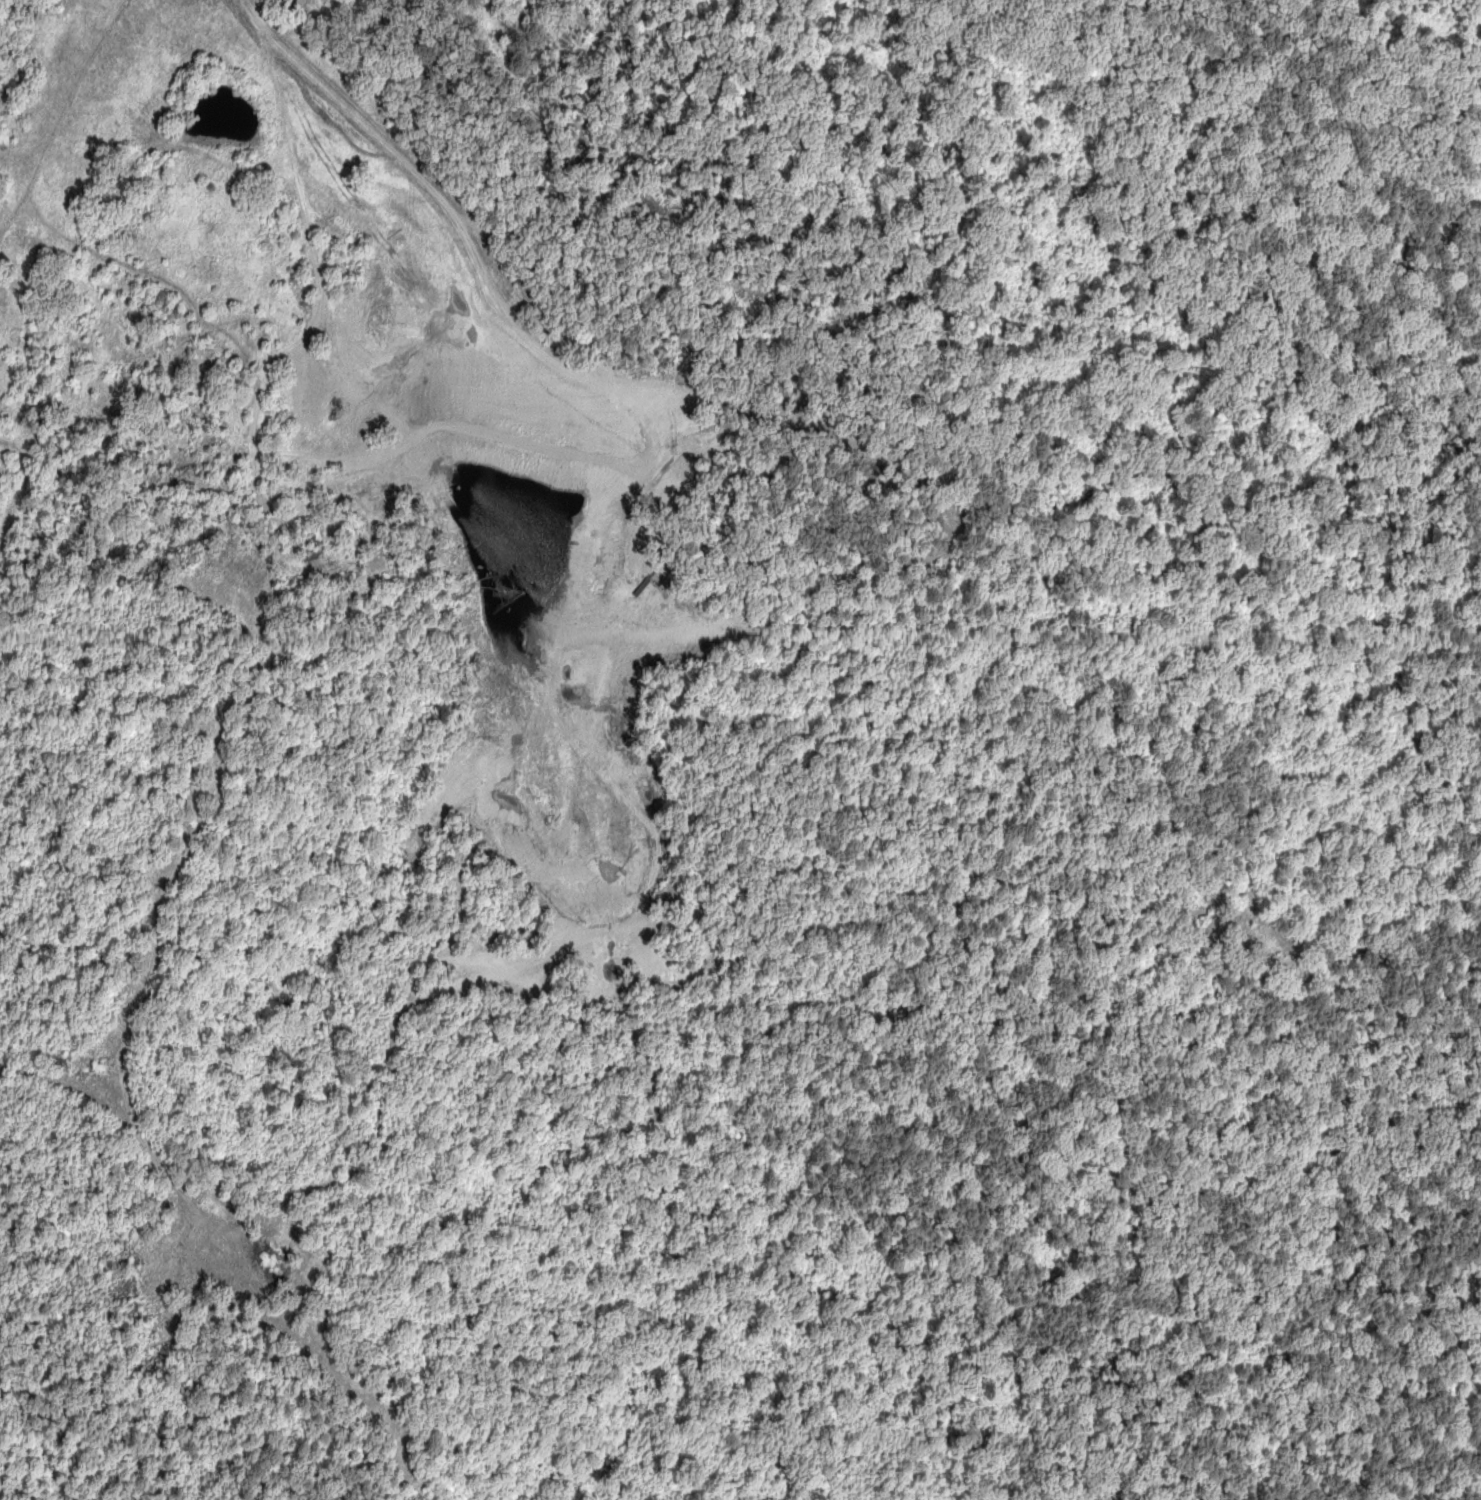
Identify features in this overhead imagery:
road: (66, 94)

